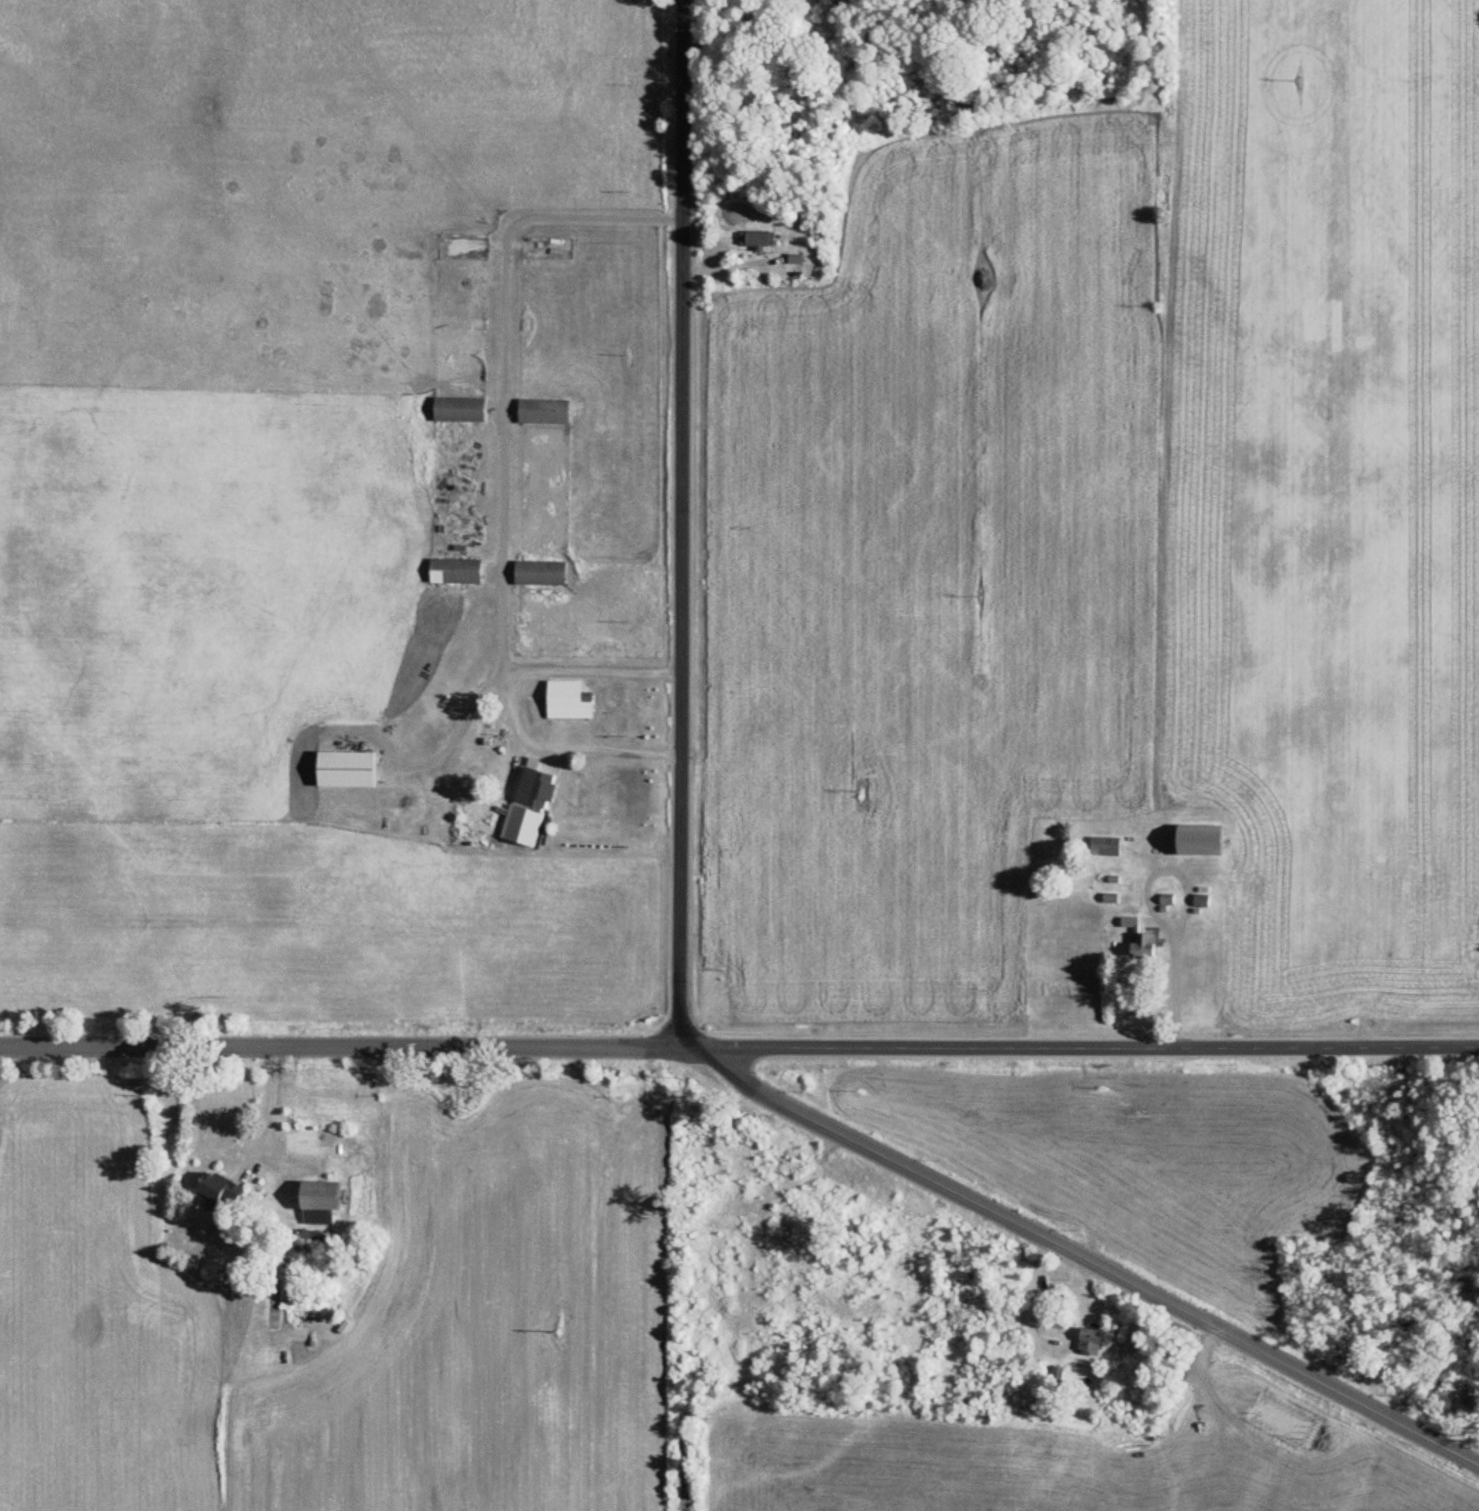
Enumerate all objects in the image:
building: (754, 240)
building: (456, 410)
building: (541, 412)
road: (500, 448)
road: (683, 521)
building: (452, 572)
building: (537, 574)
building: (565, 698)
road: (569, 744)
building: (342, 770)
building: (532, 790)
building: (1196, 841)
building: (1103, 846)
building: (1164, 901)
building: (1199, 901)
road: (1186, 907)
building: (1140, 944)
road: (739, 1044)
road: (272, 1107)
building: (214, 1191)
building: (316, 1197)
road: (1079, 1258)
building: (1087, 1342)

